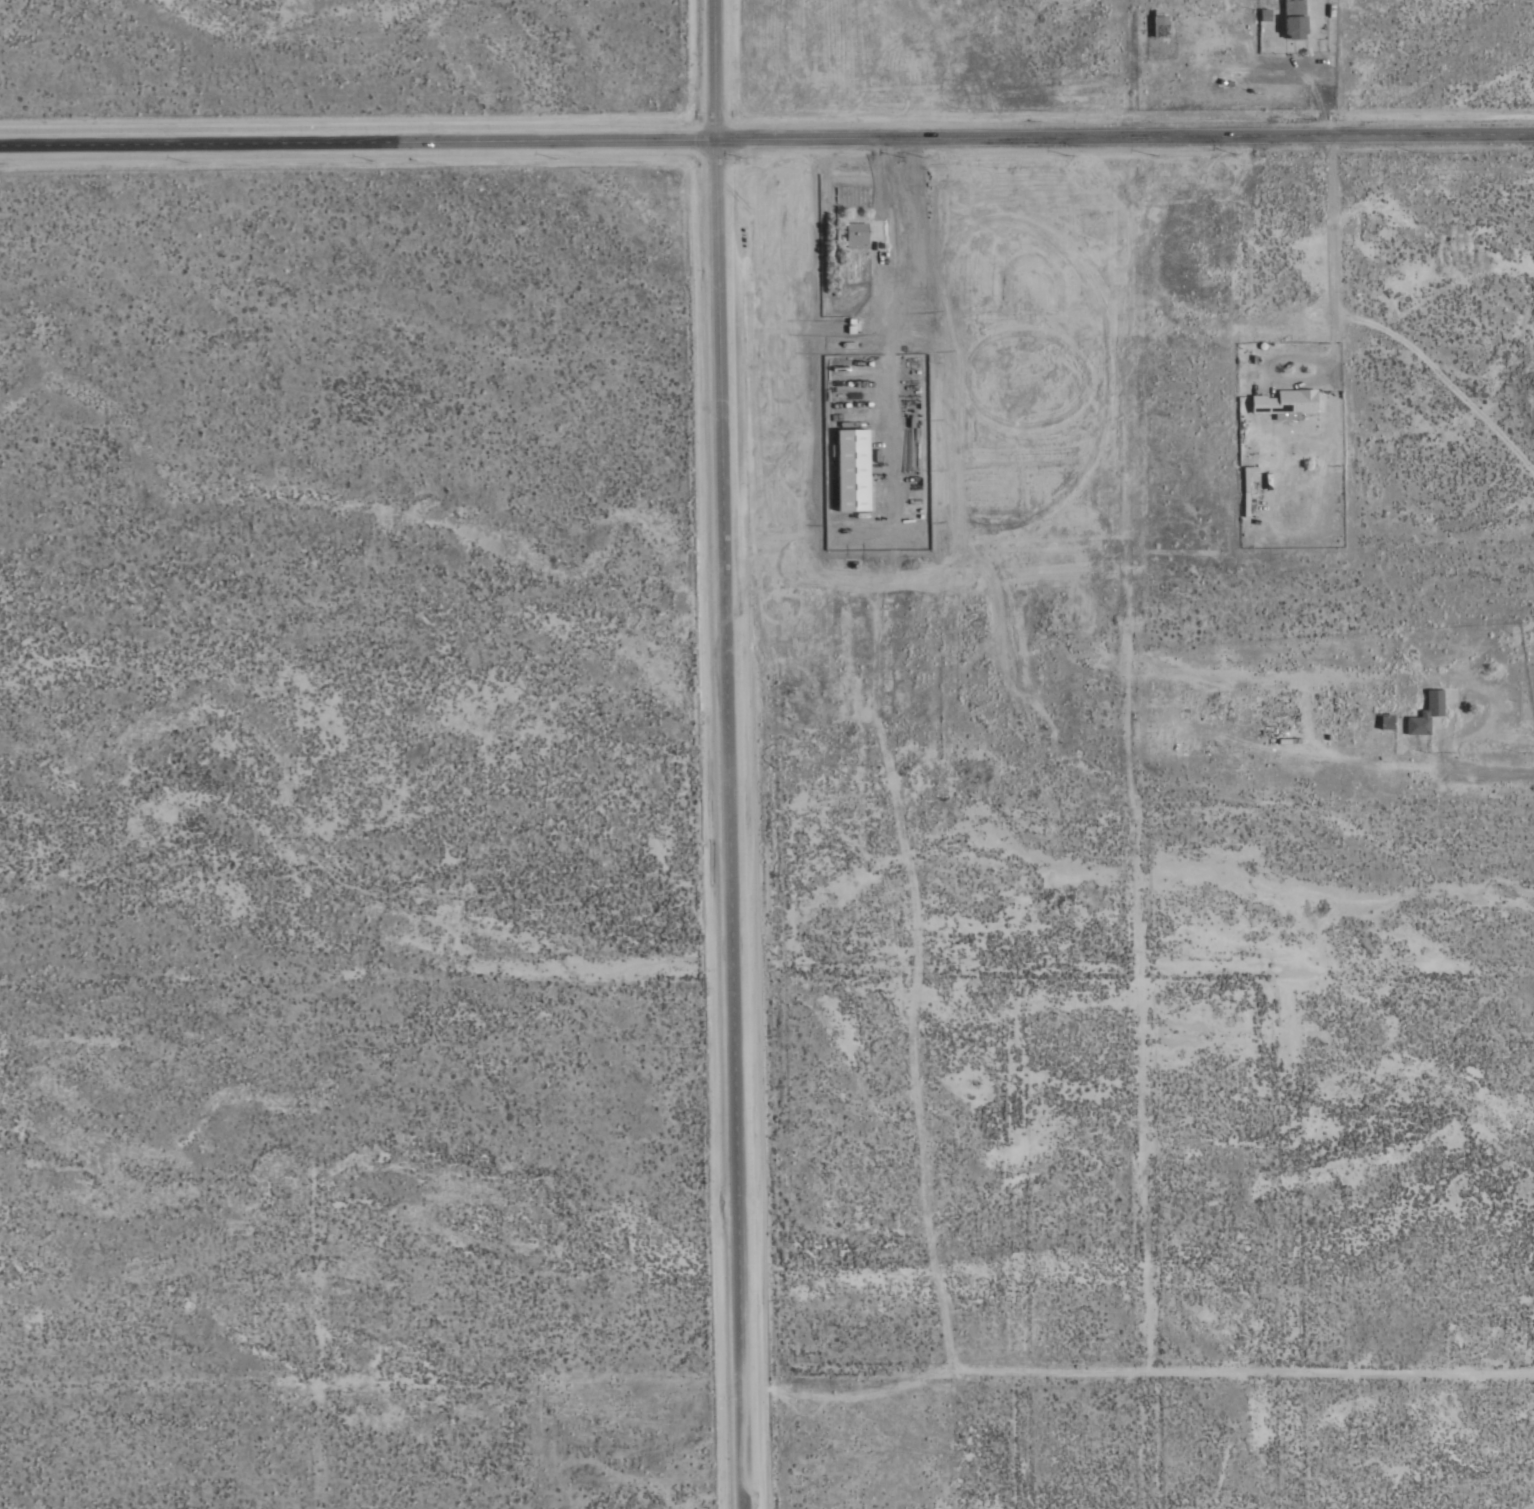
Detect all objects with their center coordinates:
building: (1264, 14)
building: (1294, 18)
building: (1160, 25)
road: (767, 138)
building: (856, 235)
road: (896, 245)
road: (1332, 254)
building: (1285, 403)
road: (891, 421)
building: (1243, 445)
building: (852, 470)
building: (1425, 713)
building: (1386, 721)
road: (731, 754)
road: (1475, 774)

